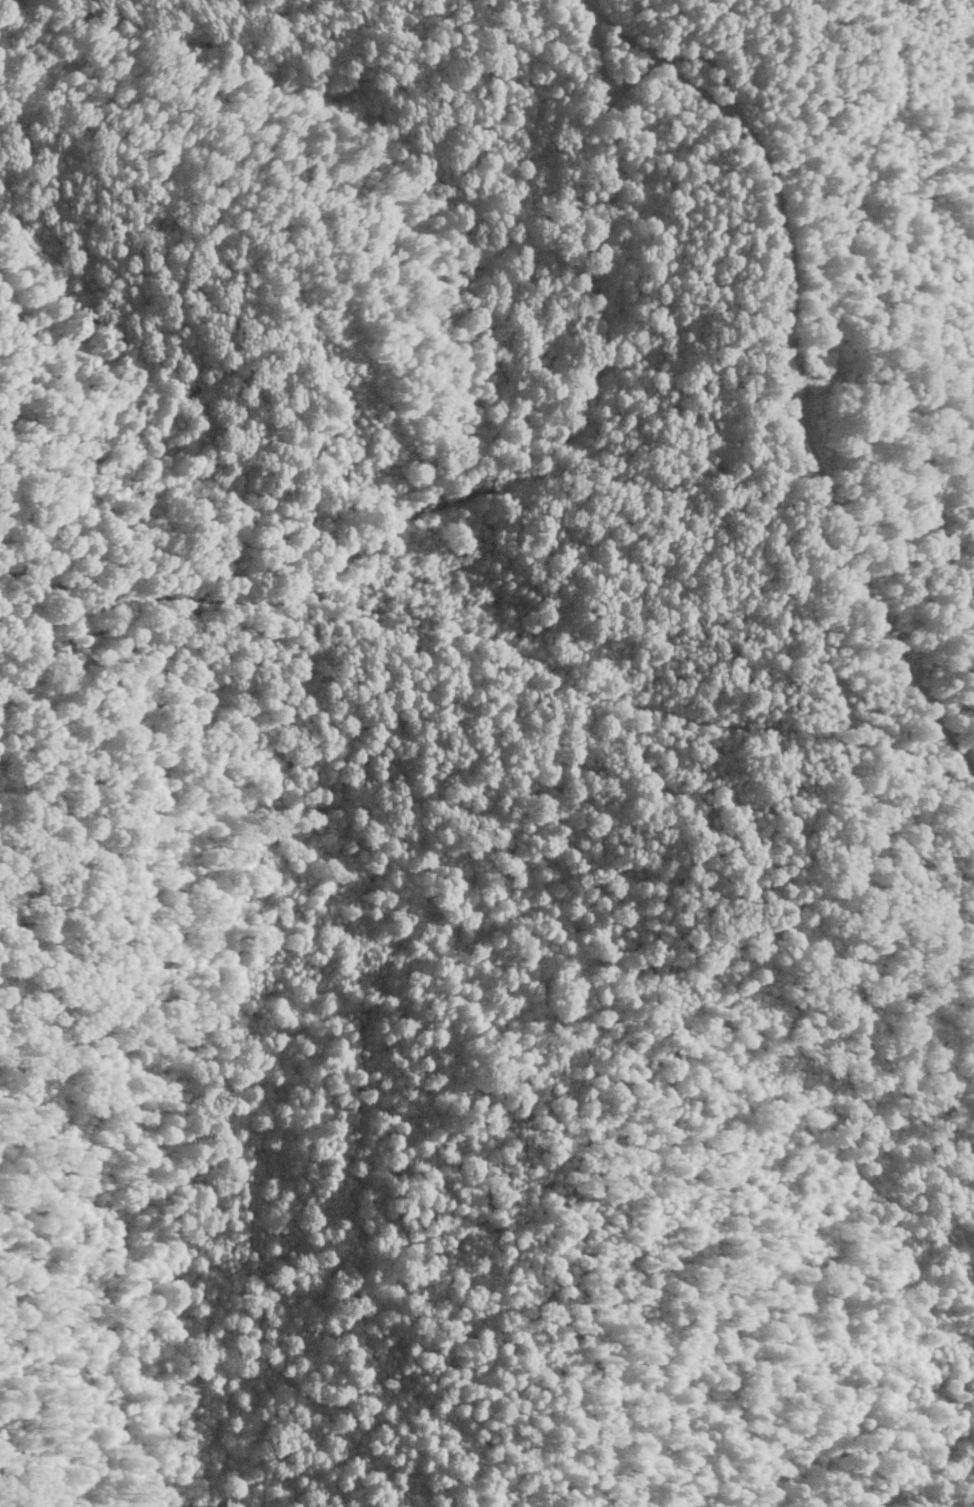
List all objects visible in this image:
road: (961, 1498)

